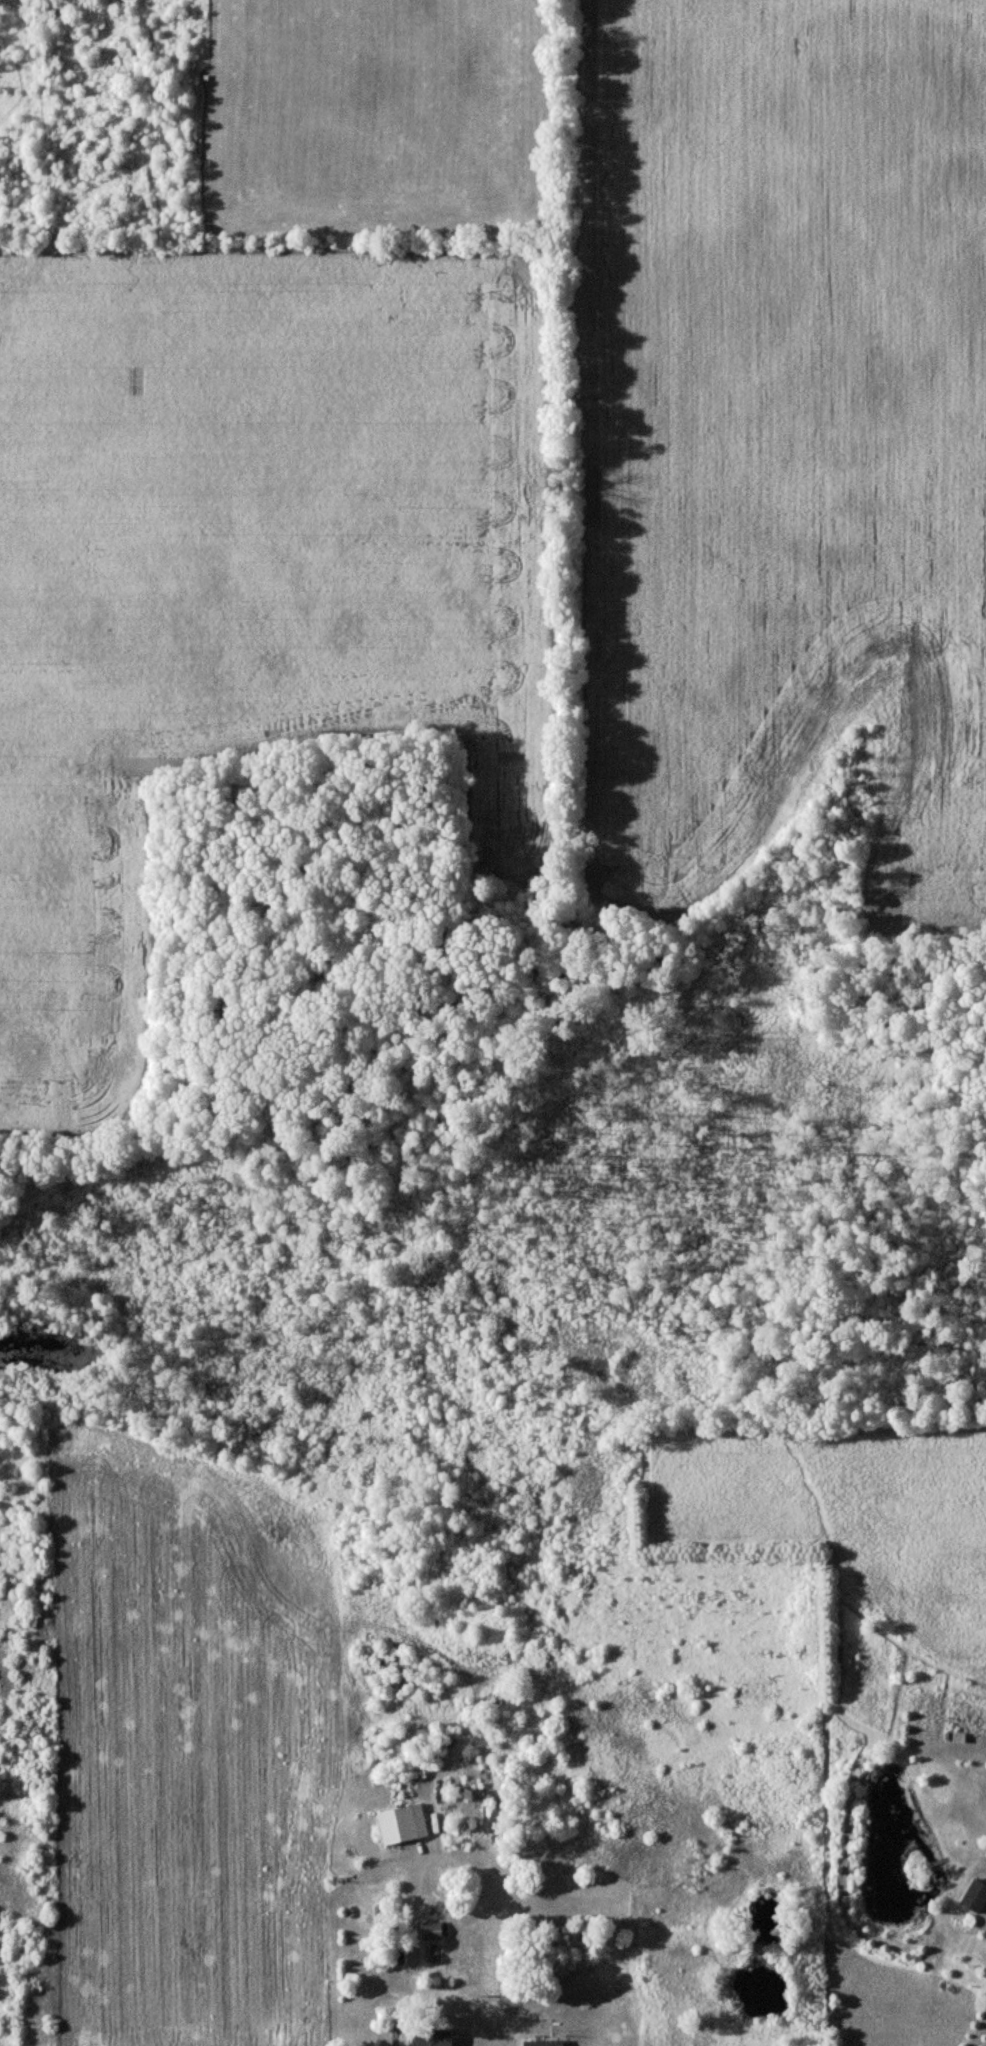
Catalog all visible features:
building: (405, 1825)
building: (976, 1896)
building: (435, 1931)
road: (979, 2032)
building: (547, 2043)

